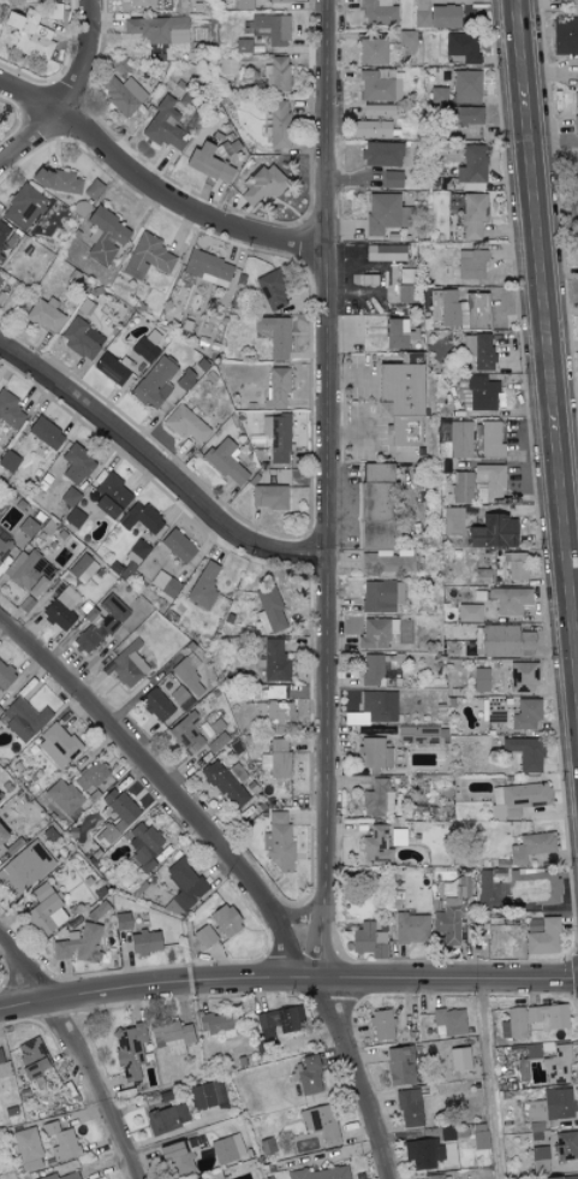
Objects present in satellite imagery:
building: (278, 0)
building: (568, 1)
building: (141, 2)
building: (244, 4)
building: (379, 12)
building: (421, 13)
building: (445, 16)
building: (272, 28)
building: (157, 29)
building: (34, 30)
building: (566, 35)
building: (243, 46)
building: (461, 47)
building: (373, 52)
building: (227, 66)
building: (276, 73)
building: (374, 87)
building: (466, 87)
building: (121, 93)
road: (71, 94)
building: (437, 94)
building: (576, 99)
building: (377, 109)
building: (463, 115)
building: (276, 123)
building: (574, 123)
building: (165, 126)
building: (369, 129)
road: (554, 142)
building: (381, 154)
building: (208, 164)
building: (471, 168)
building: (392, 179)
building: (56, 180)
road: (153, 186)
building: (262, 186)
building: (93, 189)
building: (23, 207)
building: (381, 212)
building: (473, 214)
building: (4, 232)
building: (105, 236)
building: (385, 253)
building: (147, 256)
building: (471, 263)
building: (207, 268)
building: (0, 272)
building: (367, 279)
building: (272, 290)
building: (406, 294)
building: (460, 309)
building: (44, 314)
road: (547, 332)
building: (397, 333)
building: (274, 334)
building: (81, 338)
building: (148, 345)
building: (478, 350)
building: (111, 369)
road: (351, 378)
building: (183, 383)
building: (154, 384)
building: (276, 387)
building: (477, 393)
building: (401, 402)
building: (8, 416)
building: (186, 426)
building: (46, 432)
road: (350, 434)
building: (276, 437)
building: (458, 440)
building: (490, 440)
building: (8, 461)
building: (226, 461)
building: (76, 464)
road: (155, 467)
building: (461, 486)
road: (324, 490)
building: (111, 496)
building: (70, 497)
building: (268, 497)
building: (141, 519)
building: (379, 520)
building: (452, 521)
building: (28, 527)
building: (493, 532)
building: (177, 546)
building: (4, 549)
building: (514, 565)
building: (82, 568)
building: (28, 571)
building: (203, 585)
building: (165, 586)
building: (381, 596)
building: (508, 599)
building: (61, 609)
building: (268, 610)
building: (469, 612)
building: (101, 623)
building: (376, 633)
building: (501, 640)
building: (274, 662)
building: (127, 665)
building: (371, 670)
building: (5, 676)
building: (523, 676)
building: (481, 680)
building: (185, 685)
building: (155, 704)
building: (379, 705)
building: (495, 710)
building: (525, 713)
building: (278, 715)
building: (24, 718)
building: (186, 733)
building: (421, 734)
building: (218, 742)
building: (56, 746)
building: (374, 753)
building: (525, 753)
building: (276, 758)
building: (90, 776)
building: (226, 781)
building: (62, 796)
building: (377, 799)
building: (517, 799)
building: (115, 817)
building: (398, 837)
building: (278, 840)
building: (143, 842)
building: (8, 843)
building: (376, 845)
building: (530, 847)
road: (236, 864)
building: (24, 867)
building: (185, 883)
building: (534, 887)
building: (454, 888)
building: (483, 888)
building: (44, 911)
road: (296, 917)
building: (225, 920)
building: (121, 922)
building: (448, 922)
building: (411, 928)
building: (204, 936)
building: (541, 936)
building: (369, 941)
building: (144, 942)
building: (79, 944)
road: (287, 979)
building: (532, 1019)
building: (279, 1021)
building: (448, 1021)
building: (219, 1024)
building: (382, 1026)
building: (172, 1038)
road: (78, 1049)
building: (129, 1051)
building: (531, 1051)
building: (31, 1059)
building: (459, 1059)
building: (399, 1066)
building: (556, 1066)
building: (4, 1068)
building: (305, 1076)
road: (488, 1079)
building: (208, 1095)
building: (550, 1106)
building: (409, 1108)
building: (167, 1119)
building: (321, 1124)
building: (479, 1139)
building: (61, 1142)
building: (565, 1147)
building: (28, 1149)
building: (228, 1150)
building: (422, 1154)
building: (174, 1160)
building: (540, 1160)
building: (320, 1173)
building: (61, 1177)
building: (436, 1177)
building: (202, 1178)
building: (562, 1178)

